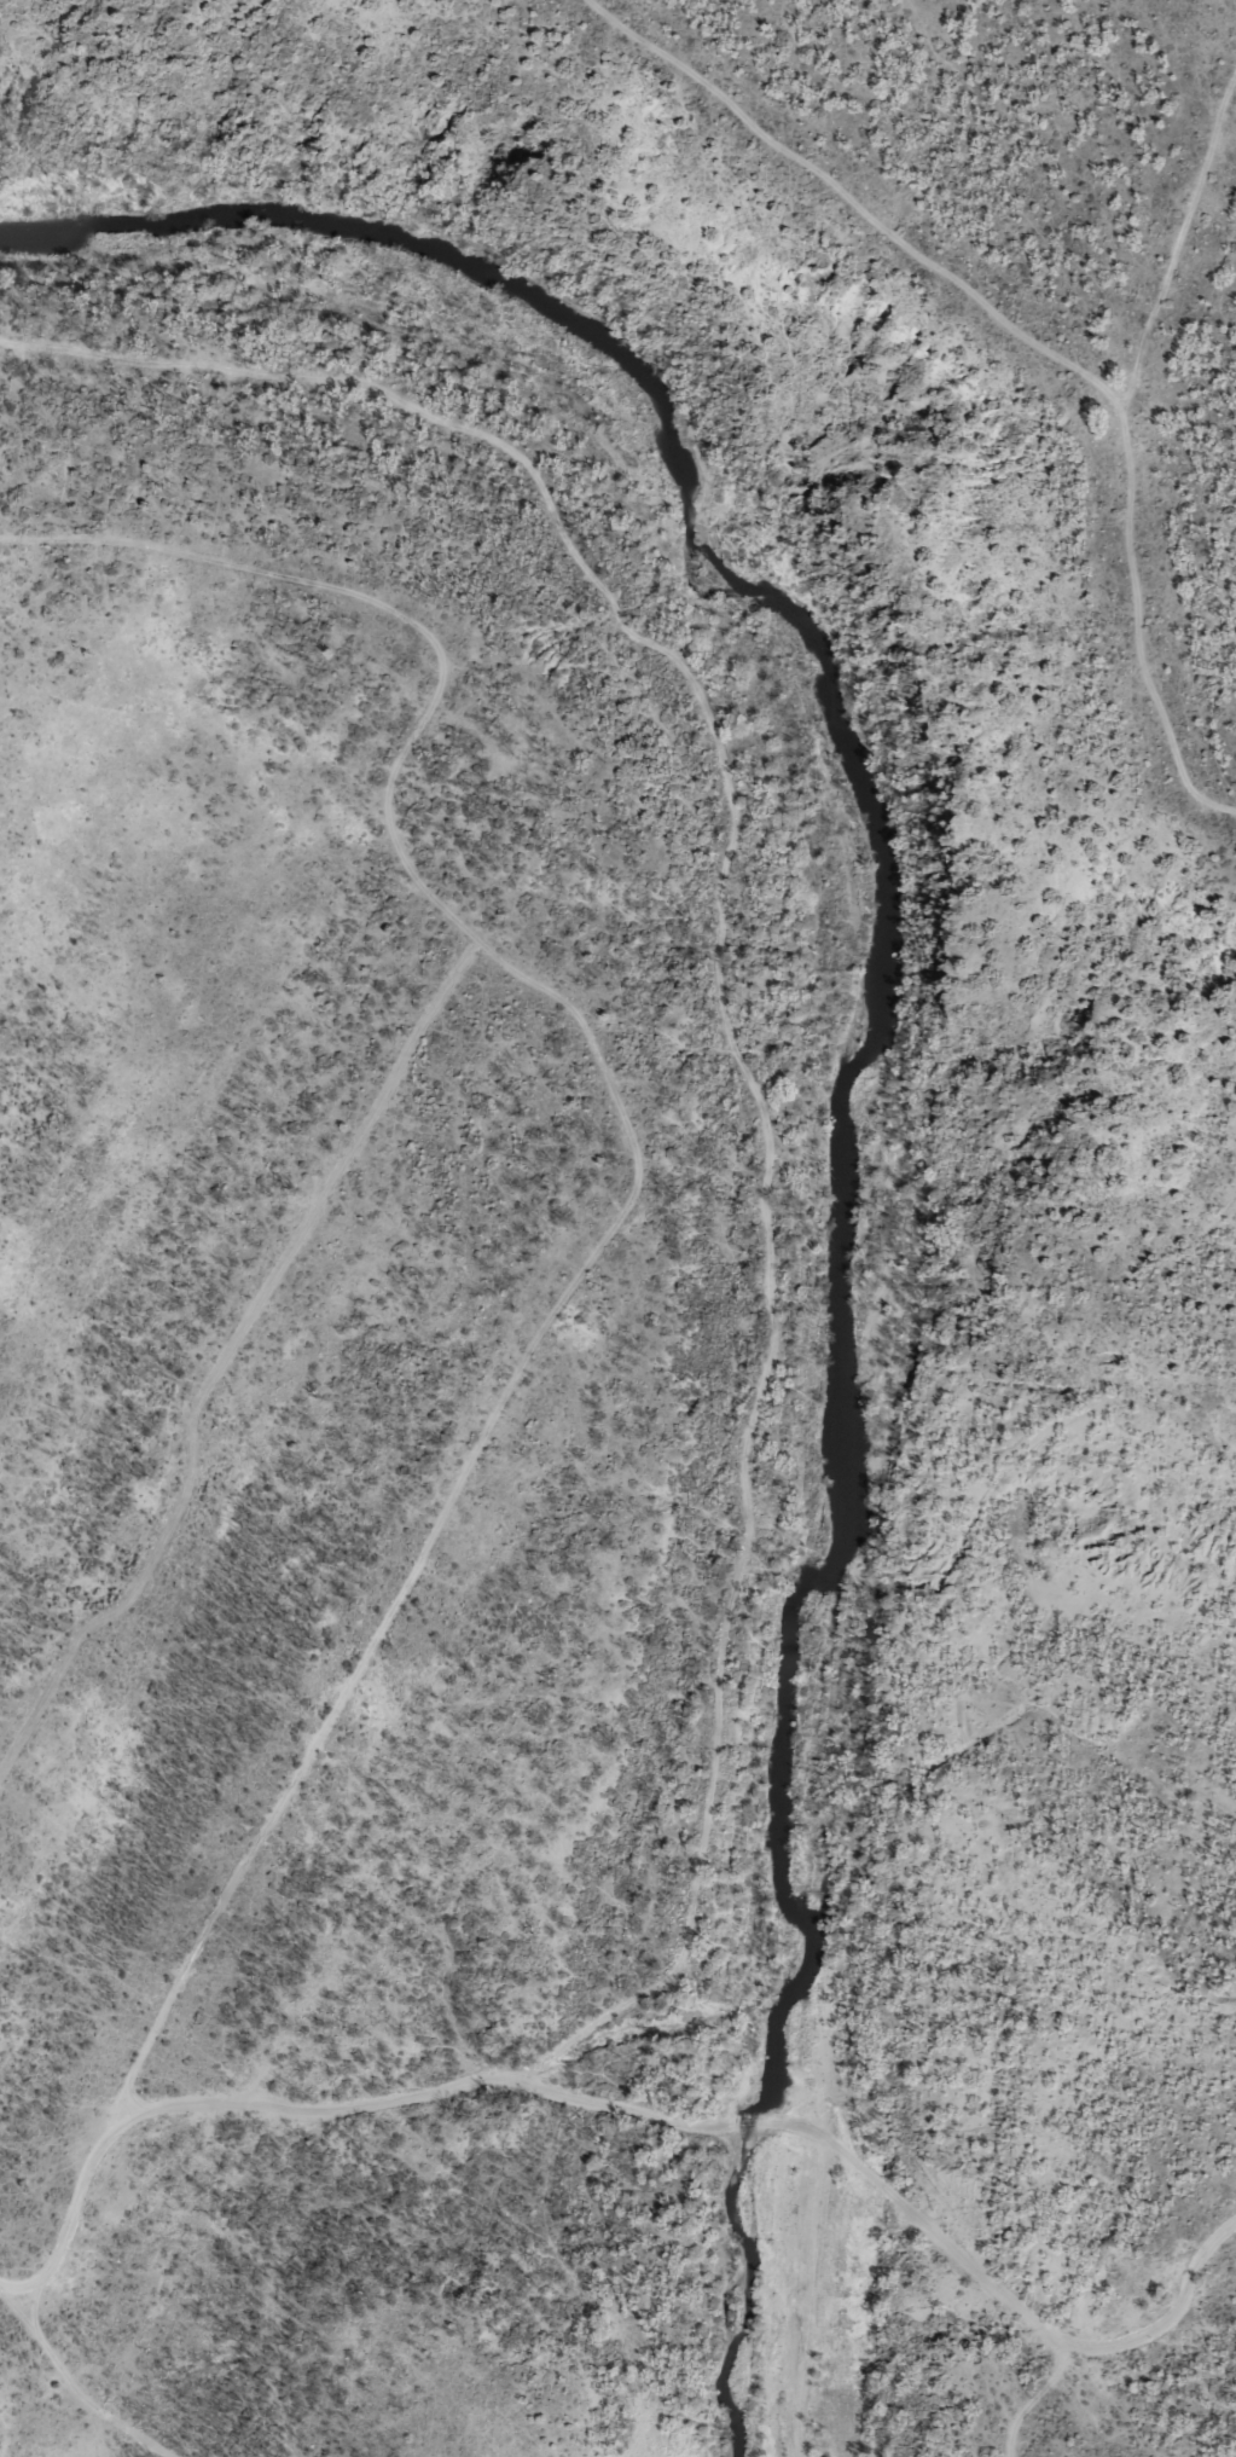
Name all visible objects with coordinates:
river: (476, 273)
road: (1157, 464)
river: (830, 1541)

